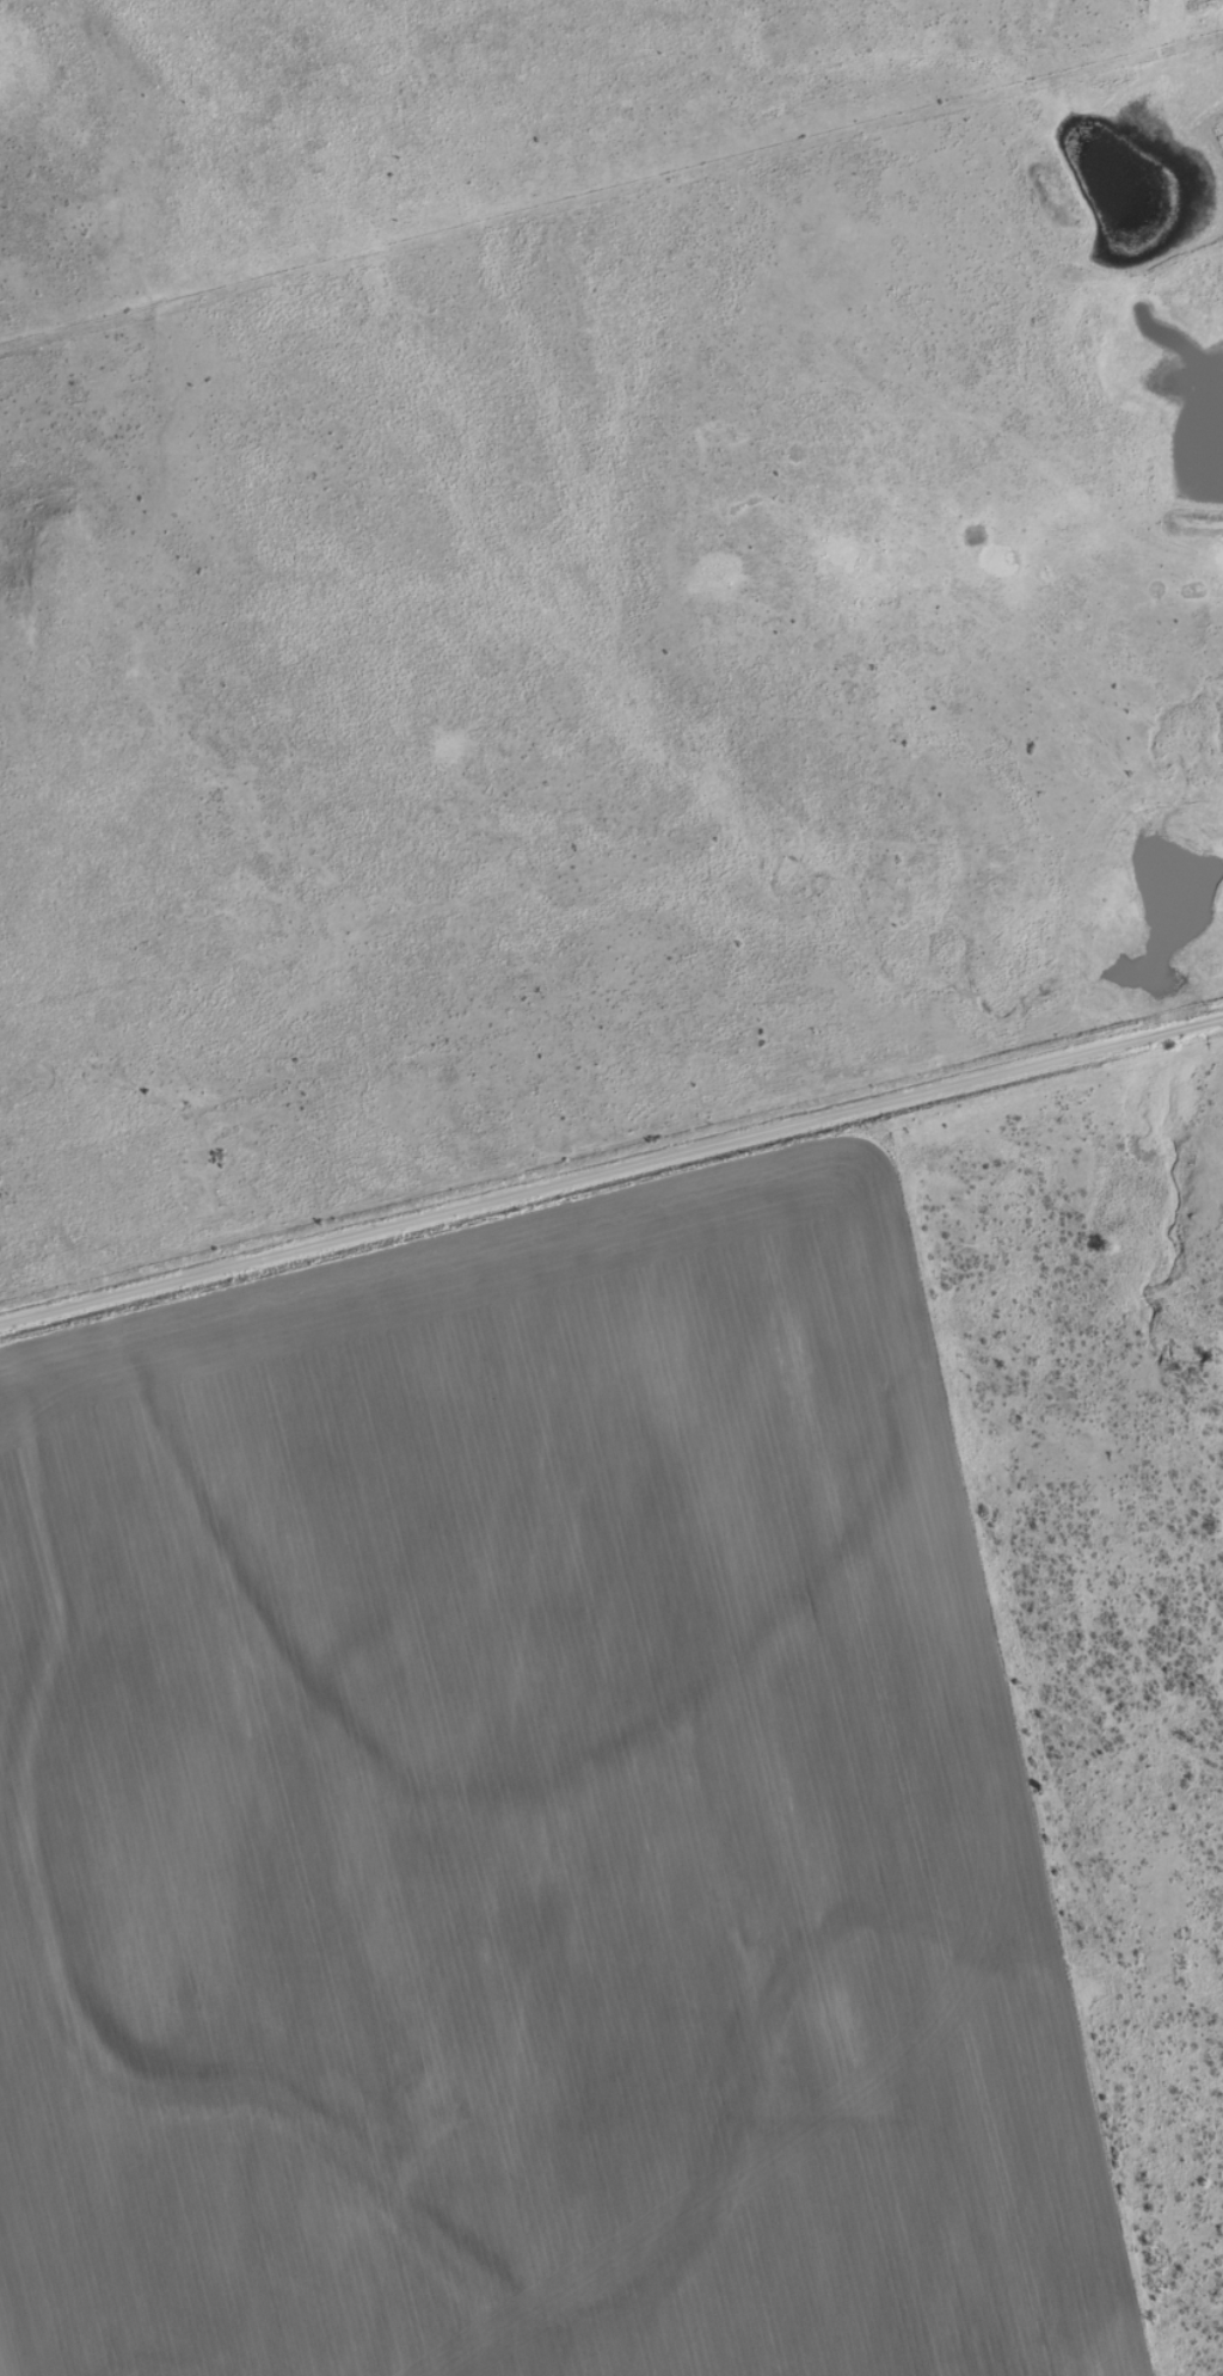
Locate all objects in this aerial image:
road: (610, 1152)

